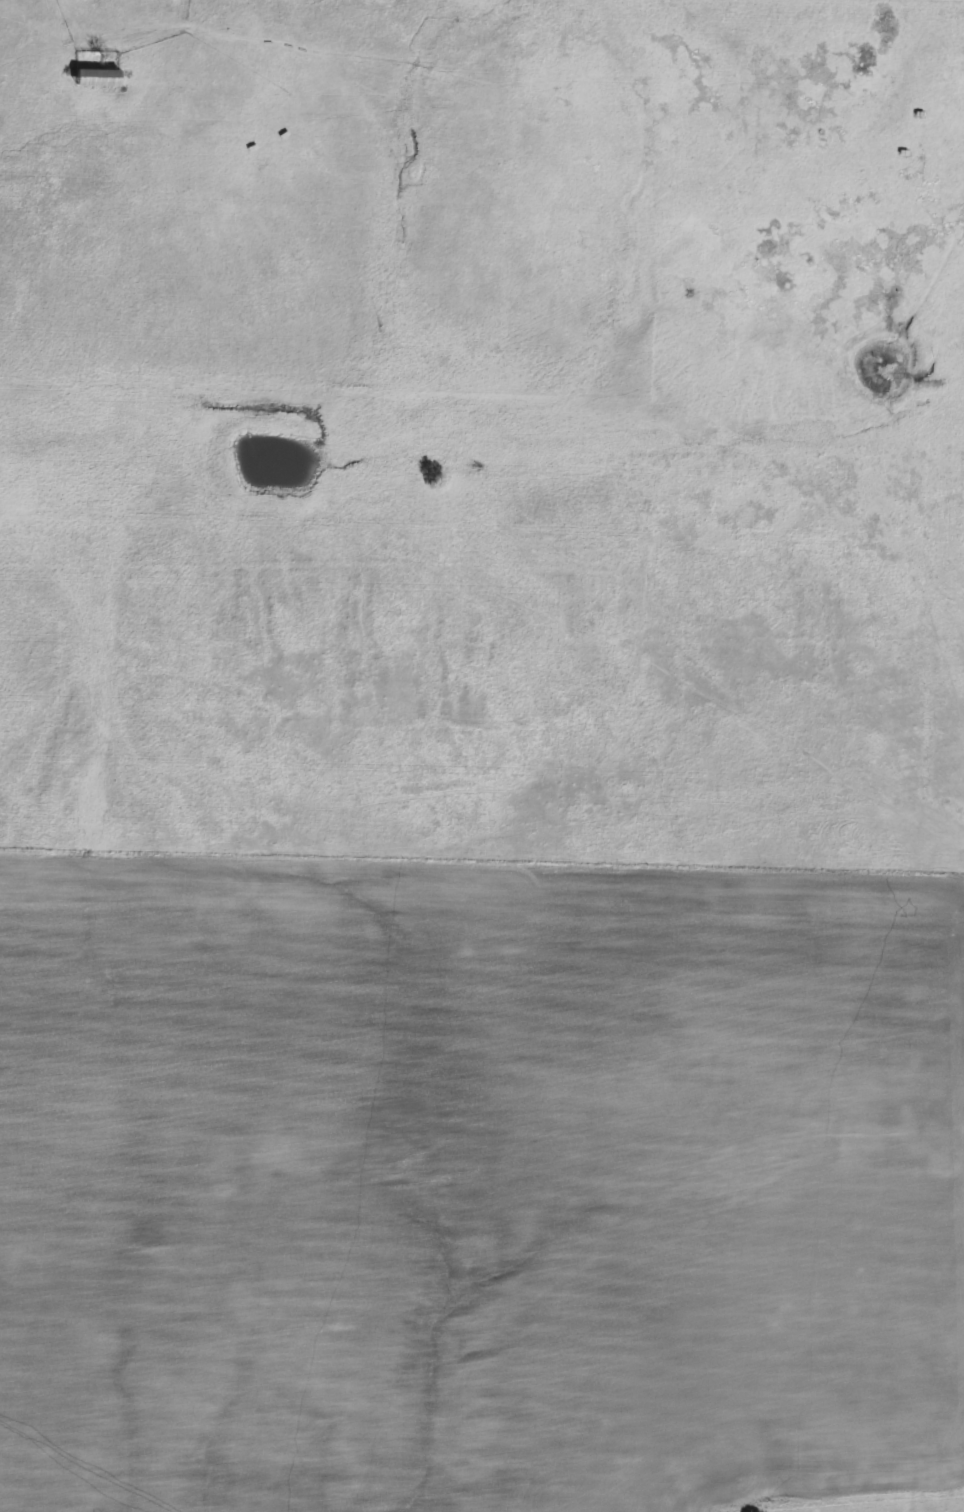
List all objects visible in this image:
building: (96, 76)
crop: (473, 1177)

